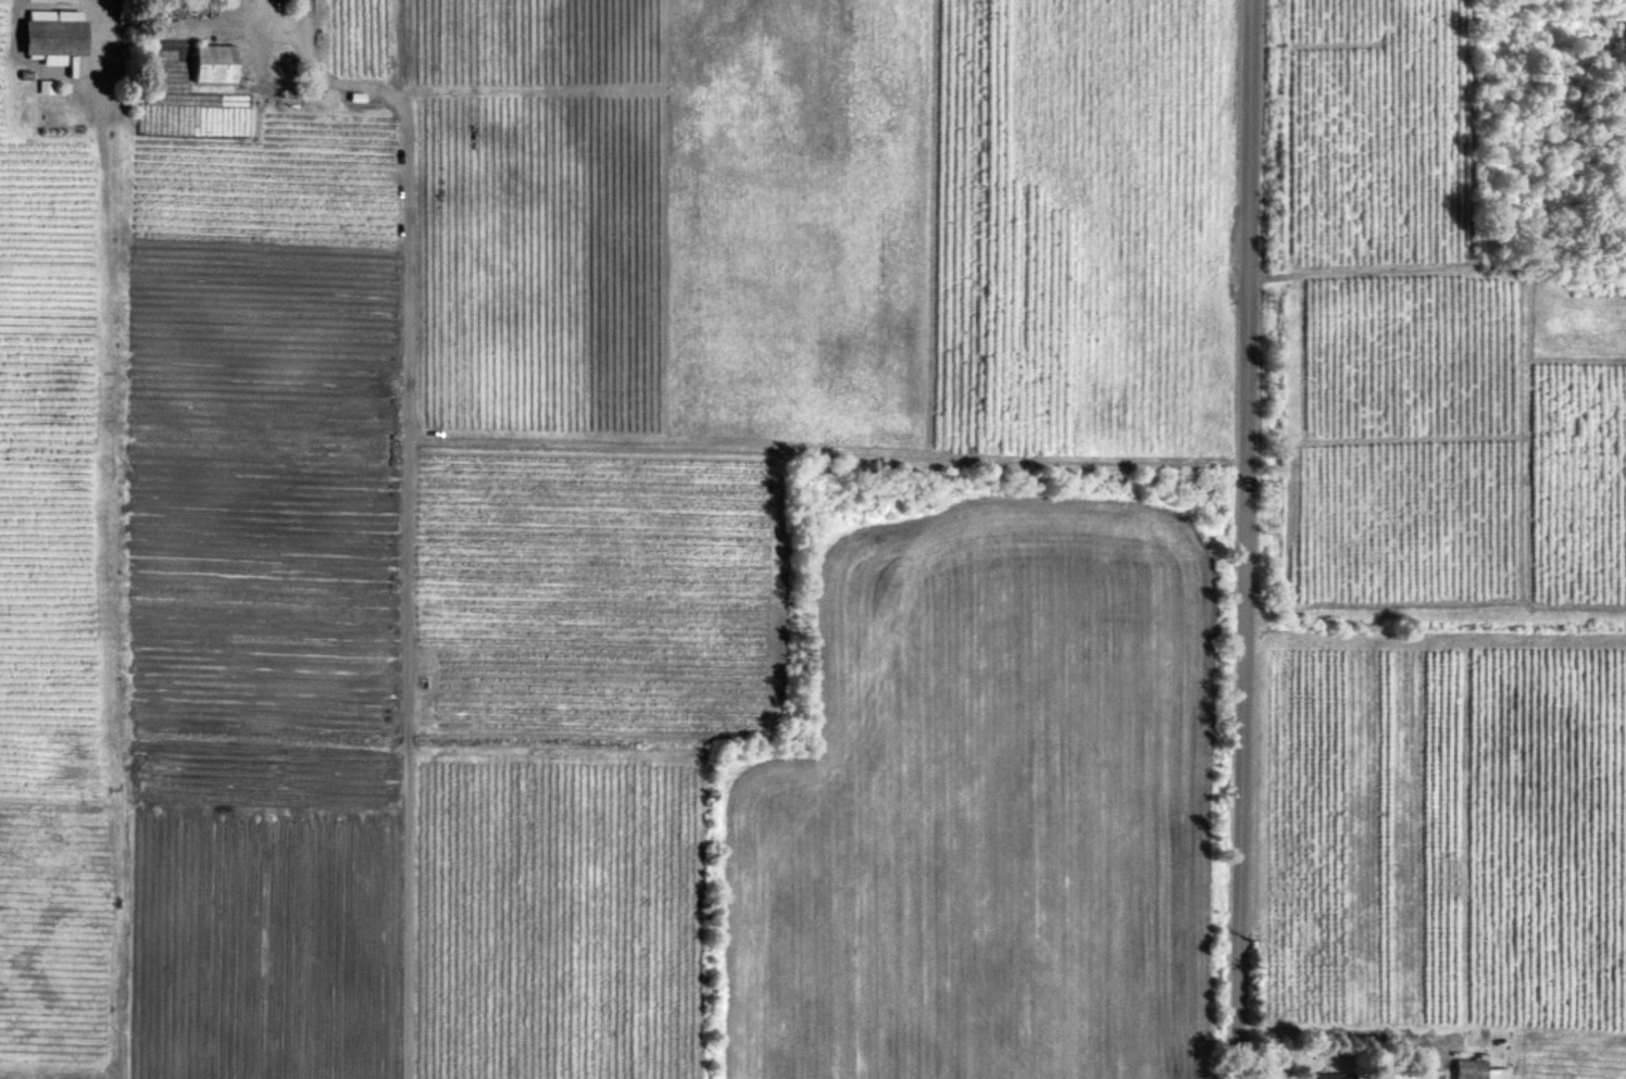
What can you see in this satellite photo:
road: (105, 7)
building: (54, 35)
building: (215, 63)
building: (45, 86)
road: (1250, 539)
building: (1471, 1068)
building: (1497, 1072)
building: (1335, 1075)

